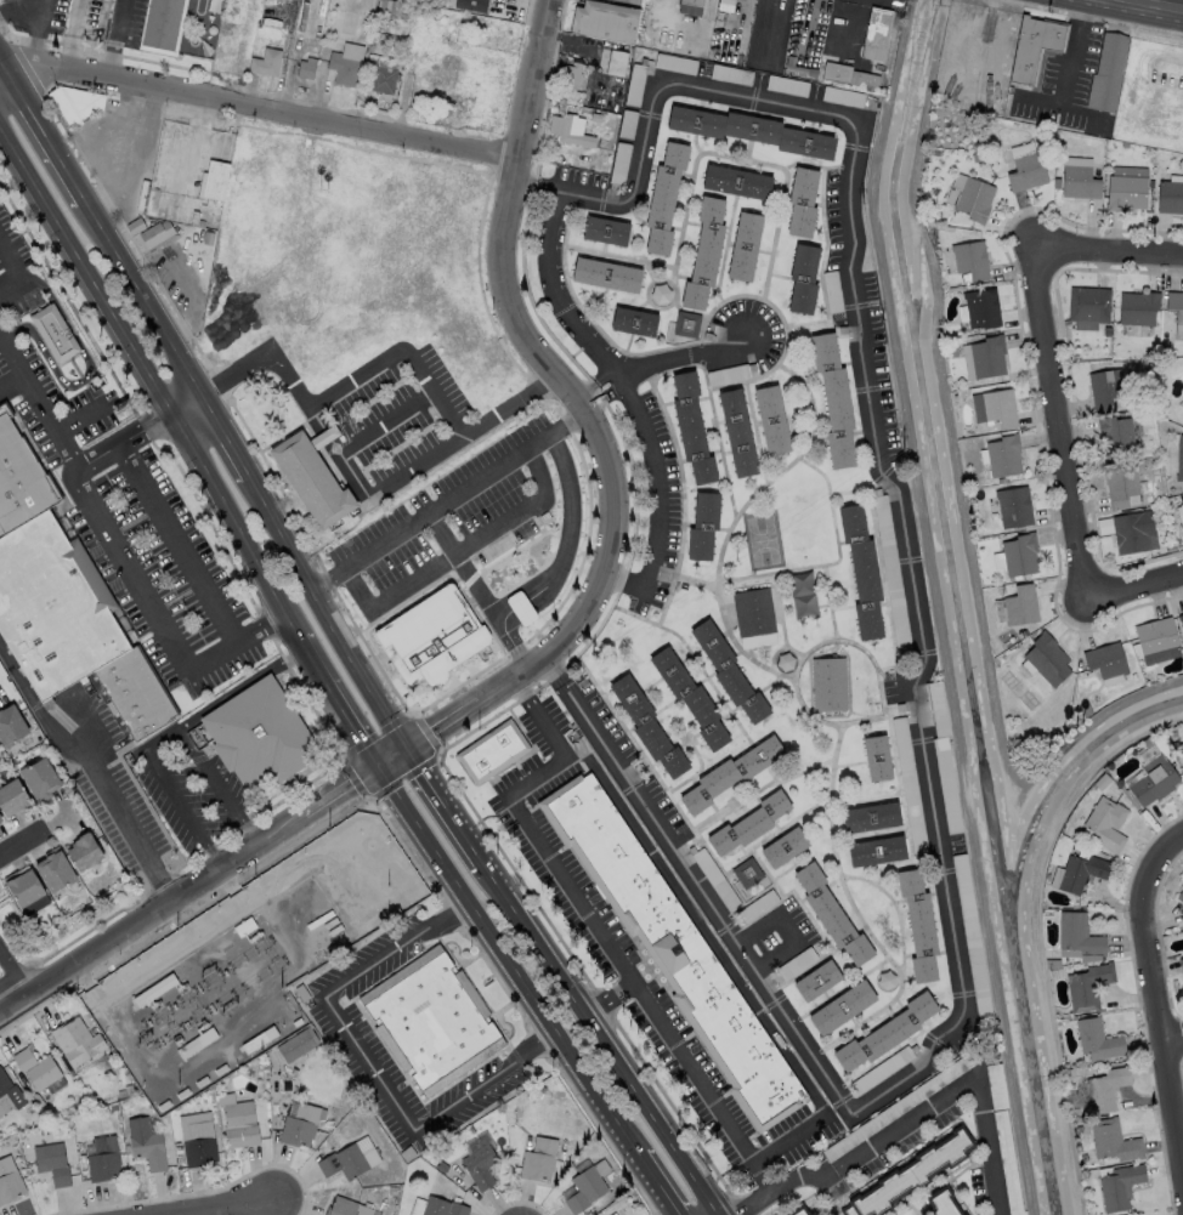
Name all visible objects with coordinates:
building: (742, 0)
building: (691, 1)
building: (471, 5)
building: (394, 6)
road: (1151, 6)
road: (19, 11)
building: (262, 13)
building: (602, 19)
building: (159, 22)
building: (874, 32)
road: (117, 39)
building: (1034, 46)
road: (1077, 51)
road: (6, 57)
building: (264, 61)
building: (615, 61)
building: (305, 67)
building: (343, 68)
building: (1105, 72)
building: (570, 74)
building: (847, 74)
building: (379, 75)
building: (73, 101)
road: (260, 109)
building: (561, 126)
building: (749, 129)
road: (51, 131)
road: (135, 154)
building: (1025, 172)
building: (1077, 178)
building: (214, 180)
building: (734, 181)
road: (537, 187)
building: (1126, 187)
building: (955, 188)
building: (662, 195)
building: (1170, 197)
building: (972, 199)
building: (800, 200)
building: (136, 226)
building: (604, 229)
building: (155, 233)
building: (742, 244)
road: (1105, 245)
building: (702, 252)
building: (969, 259)
parking lot: (17, 265)
parking lot: (548, 271)
building: (604, 273)
road: (17, 274)
building: (802, 277)
building: (658, 291)
road: (187, 293)
road: (146, 297)
building: (1087, 303)
building: (1174, 303)
building: (980, 307)
building: (1137, 307)
building: (632, 319)
building: (685, 323)
building: (56, 334)
parking lot: (747, 336)
building: (986, 356)
road: (681, 357)
road: (384, 362)
parking lot: (872, 370)
road: (87, 376)
road: (619, 380)
road: (589, 385)
road: (147, 386)
building: (1103, 386)
road: (13, 387)
building: (832, 398)
road: (600, 401)
building: (998, 407)
road: (185, 408)
road: (573, 413)
road: (80, 418)
parking lot: (400, 418)
building: (770, 419)
road: (1057, 419)
building: (689, 426)
building: (736, 431)
building: (1115, 435)
road: (226, 437)
road: (121, 441)
building: (1002, 455)
building: (1178, 456)
road: (877, 462)
road: (355, 475)
building: (313, 476)
building: (1119, 484)
road: (446, 505)
building: (1012, 505)
parking lot: (653, 507)
building: (701, 523)
road: (568, 526)
parking lot: (135, 527)
building: (1132, 530)
parking lot: (435, 536)
park: (760, 540)
road: (179, 543)
road: (119, 551)
road: (458, 551)
building: (1018, 553)
building: (889, 566)
building: (859, 569)
road: (1133, 586)
road: (482, 592)
building: (802, 594)
building: (61, 600)
road: (519, 606)
building: (1021, 607)
building: (520, 608)
building: (752, 611)
road: (328, 613)
road: (505, 614)
building: (1181, 619)
building: (1025, 635)
building: (432, 637)
building: (1012, 640)
building: (1157, 640)
building: (783, 660)
building: (1048, 660)
building: (1108, 662)
road: (555, 669)
building: (725, 670)
building: (827, 682)
building: (689, 697)
road: (339, 704)
building: (935, 706)
building: (1086, 710)
building: (645, 726)
building: (12, 727)
road: (159, 737)
building: (260, 737)
building: (38, 739)
building: (0, 748)
traffic signals: (409, 750)
building: (1181, 750)
building: (496, 751)
building: (874, 756)
parking lot: (624, 761)
road: (96, 767)
traffic signals: (379, 771)
building: (729, 772)
building: (43, 779)
building: (1154, 782)
building: (945, 784)
building: (907, 785)
parking lot: (192, 791)
building: (15, 799)
road: (446, 808)
building: (868, 816)
building: (1, 817)
building: (748, 823)
building: (1108, 823)
parking lot: (551, 844)
road: (22, 845)
building: (782, 846)
building: (874, 850)
building: (87, 855)
road: (1161, 855)
building: (58, 873)
building: (746, 873)
building: (1082, 873)
building: (714, 879)
road: (204, 884)
building: (29, 891)
road: (703, 895)
building: (1181, 897)
building: (757, 907)
building: (830, 913)
building: (917, 924)
road: (789, 925)
building: (245, 927)
road: (596, 932)
parking lot: (779, 932)
building: (1080, 936)
building: (970, 937)
road: (11, 943)
parking lot: (364, 952)
building: (677, 954)
road: (723, 959)
road: (509, 961)
building: (794, 963)
building: (1054, 964)
building: (1182, 964)
parking lot: (380, 970)
power substation: (244, 973)
road: (13, 977)
building: (815, 980)
building: (884, 980)
building: (1089, 987)
building: (157, 990)
building: (304, 993)
road: (2, 1007)
building: (840, 1007)
building: (299, 1023)
building: (432, 1023)
road: (1156, 1029)
building: (884, 1032)
building: (209, 1037)
building: (261, 1040)
road: (602, 1040)
parking lot: (956, 1040)
building: (1098, 1041)
road: (1171, 1041)
building: (78, 1043)
building: (299, 1045)
building: (191, 1049)
parking lot: (383, 1057)
road: (368, 1063)
building: (881, 1068)
building: (40, 1071)
parking lot: (360, 1078)
parking lot: (463, 1085)
building: (997, 1088)
building: (1108, 1090)
building: (130, 1091)
building: (10, 1092)
building: (123, 1094)
road: (949, 1096)
parking lot: (721, 1101)
parking lot: (477, 1103)
building: (98, 1105)
building: (114, 1108)
building: (899, 1108)
building: (1075, 1111)
building: (243, 1125)
building: (300, 1126)
building: (1081, 1130)
building: (199, 1141)
building: (1114, 1141)
building: (147, 1145)
building: (128, 1149)
building: (180, 1152)
building: (543, 1153)
building: (409, 1154)
building: (573, 1154)
building: (104, 1160)
building: (53, 1162)
building: (1008, 1163)
building: (345, 1164)
building: (181, 1165)
building: (443, 1168)
building: (481, 1168)
building: (911, 1174)
building: (11, 1181)
building: (589, 1185)
road: (660, 1185)
building: (1121, 1187)
road: (774, 1188)
building: (445, 1203)
building: (949, 1205)
building: (370, 1207)
building: (417, 1207)
road: (227, 1208)
building: (347, 1208)
building: (613, 1211)
building: (805, 1211)
building: (1092, 1214)

